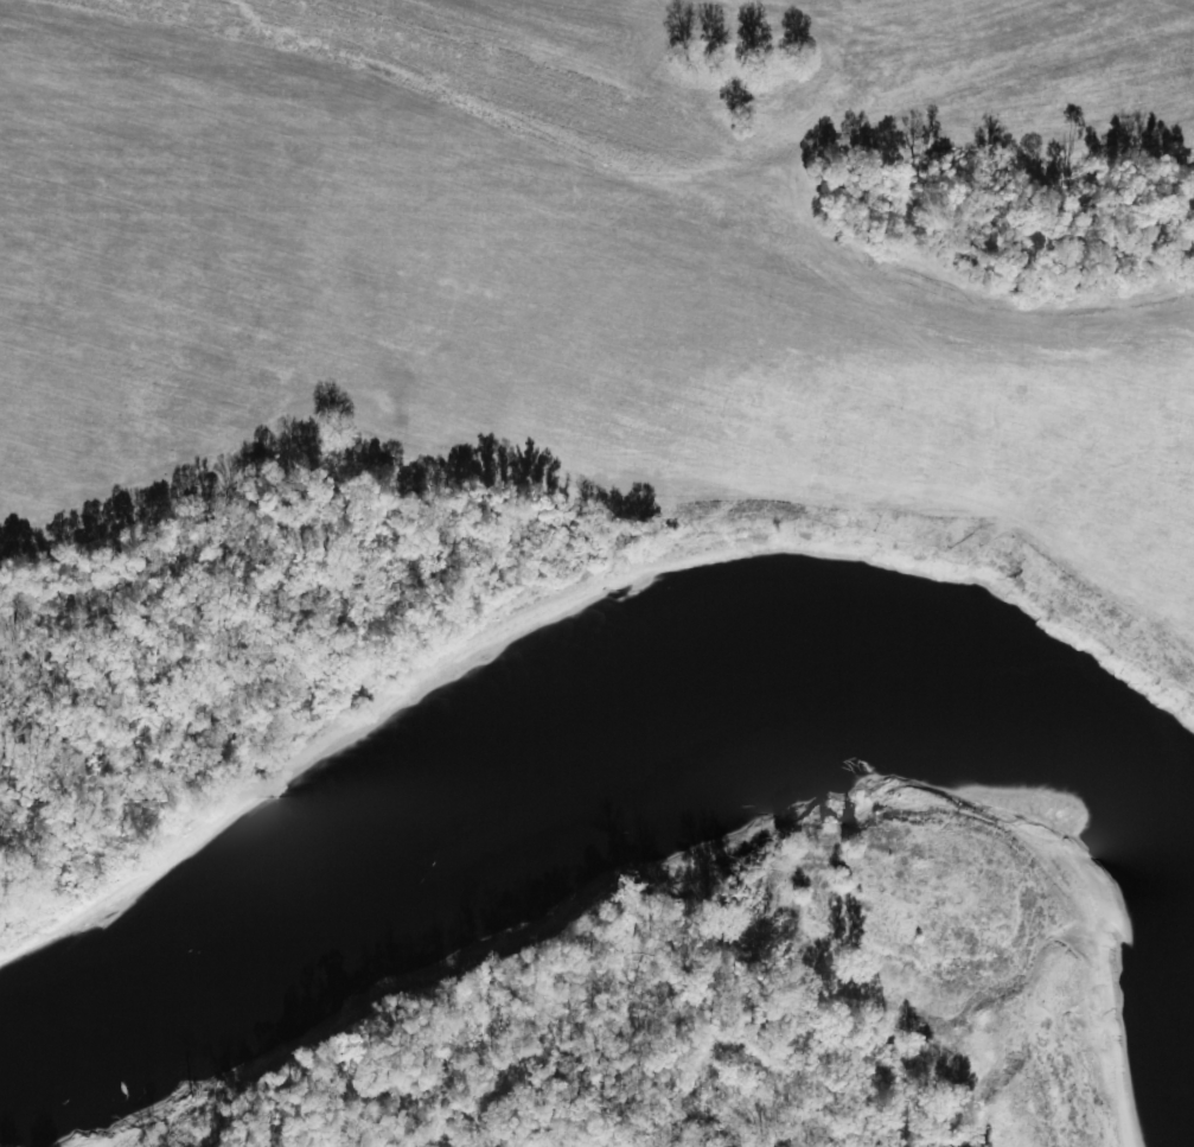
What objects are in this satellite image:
river: (702, 659)

